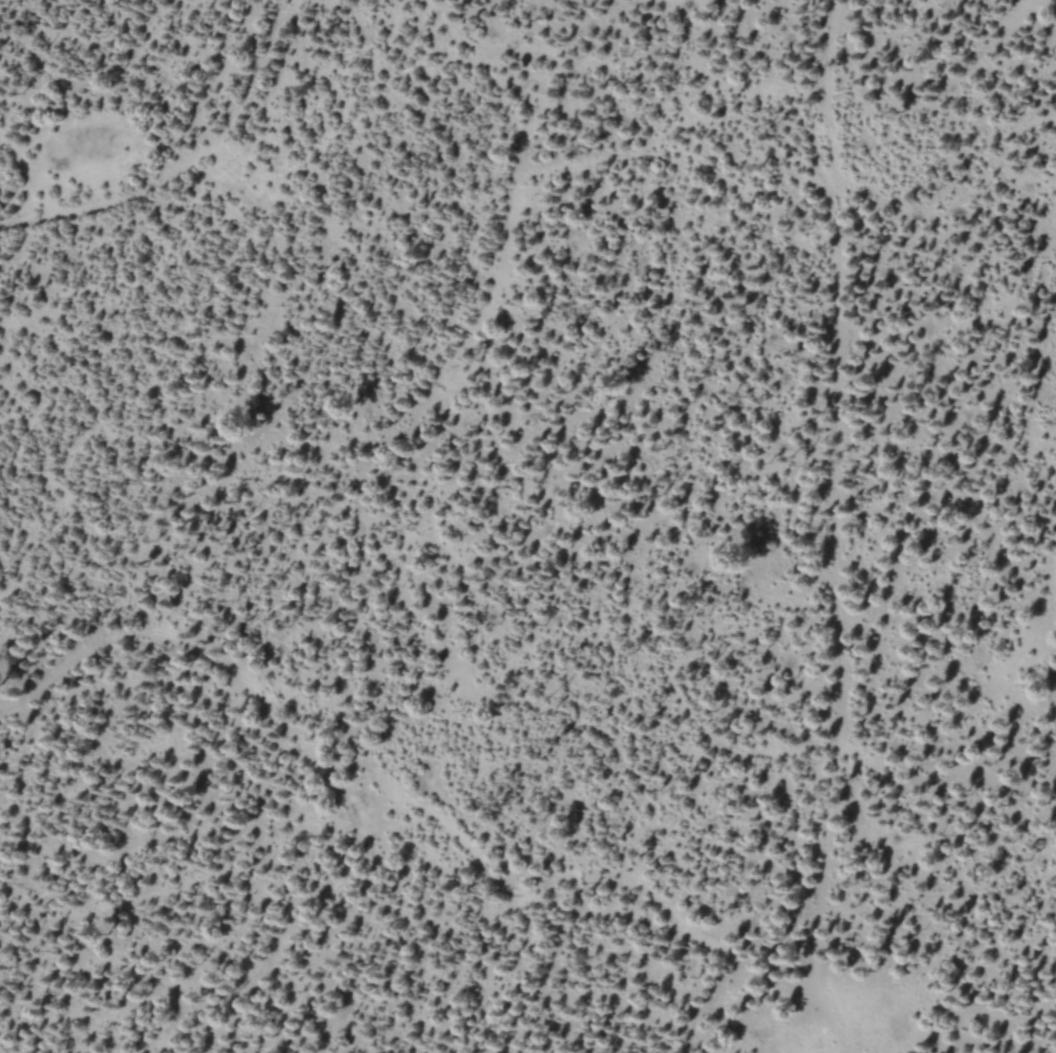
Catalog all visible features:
road: (792, 524)

